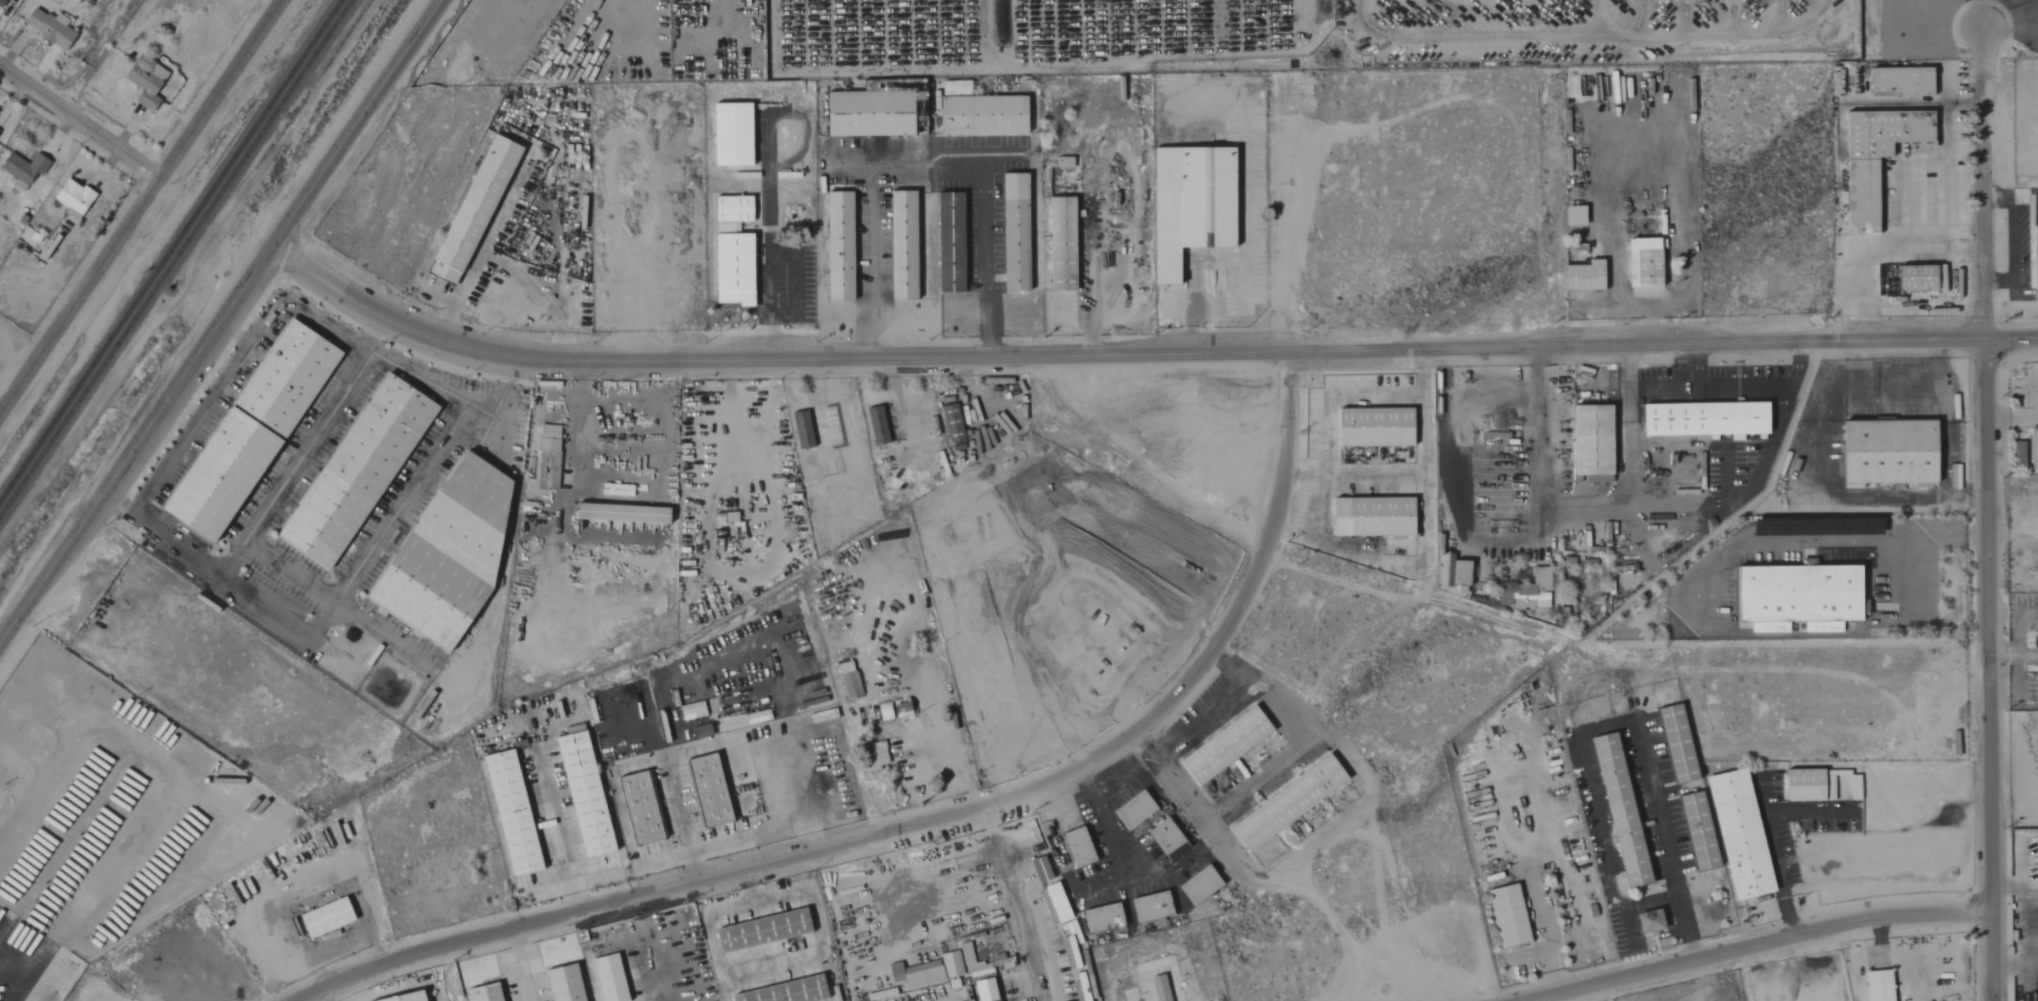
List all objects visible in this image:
building: (3, 2)
road: (2008, 21)
building: (53, 28)
road: (1950, 76)
building: (149, 81)
building: (1897, 81)
building: (873, 108)
building: (980, 111)
road: (77, 125)
building: (0, 131)
building: (732, 134)
building: (1870, 161)
road: (1946, 161)
building: (26, 169)
road: (925, 171)
building: (76, 198)
road: (1998, 198)
road: (139, 204)
building: (1191, 204)
building: (479, 210)
building: (1571, 216)
building: (1015, 232)
road: (2011, 239)
building: (950, 241)
building: (1062, 243)
building: (903, 244)
building: (840, 245)
railway: (169, 249)
building: (733, 250)
railway: (174, 256)
road: (1882, 256)
building: (2033, 257)
building: (1641, 262)
building: (1581, 276)
building: (1912, 277)
road: (2001, 281)
road: (538, 301)
road: (768, 304)
road: (299, 305)
road: (218, 320)
road: (1649, 326)
road: (1138, 353)
road: (436, 386)
road: (1746, 387)
road: (1336, 397)
building: (1701, 419)
building: (952, 423)
road: (579, 424)
building: (877, 425)
building: (1371, 427)
building: (251, 430)
building: (798, 430)
road: (189, 432)
building: (1588, 443)
building: (2033, 450)
building: (1884, 453)
building: (548, 457)
road: (296, 464)
building: (357, 471)
road: (1412, 478)
building: (622, 513)
road: (1988, 514)
building: (1368, 517)
road: (1914, 539)
road: (1486, 543)
road: (1773, 544)
building: (443, 555)
road: (1373, 559)
building: (1456, 574)
building: (1530, 592)
building: (1795, 596)
building: (1500, 599)
road: (336, 604)
road: (329, 606)
road: (2028, 615)
building: (1755, 628)
road: (2014, 659)
road: (2016, 660)
building: (847, 680)
building: (2035, 686)
building: (887, 710)
road: (1614, 725)
building: (1673, 744)
building: (1222, 746)
building: (1800, 785)
road: (1170, 786)
road: (1030, 788)
building: (704, 791)
building: (580, 795)
building: (1284, 803)
road: (1229, 805)
building: (636, 808)
building: (1130, 811)
building: (1616, 811)
building: (507, 813)
road: (681, 821)
building: (1694, 832)
building: (1736, 835)
road: (556, 836)
building: (1164, 840)
building: (1074, 848)
building: (2036, 857)
road: (1774, 859)
building: (1038, 870)
road: (1003, 876)
building: (1196, 886)
road: (752, 890)
road: (1651, 898)
building: (1053, 899)
building: (1147, 907)
building: (329, 917)
building: (1504, 917)
building: (1099, 919)
building: (1646, 922)
road: (1547, 928)
road: (649, 931)
building: (758, 931)
road: (1756, 944)
building: (964, 954)
road: (1527, 958)
road: (522, 964)
building: (949, 965)
building: (916, 976)
building: (569, 983)
building: (1876, 986)
road: (9, 987)
building: (1158, 988)
building: (982, 990)
building: (492, 992)
building: (784, 992)
road: (311, 996)
road: (16, 997)
building: (412, 997)

